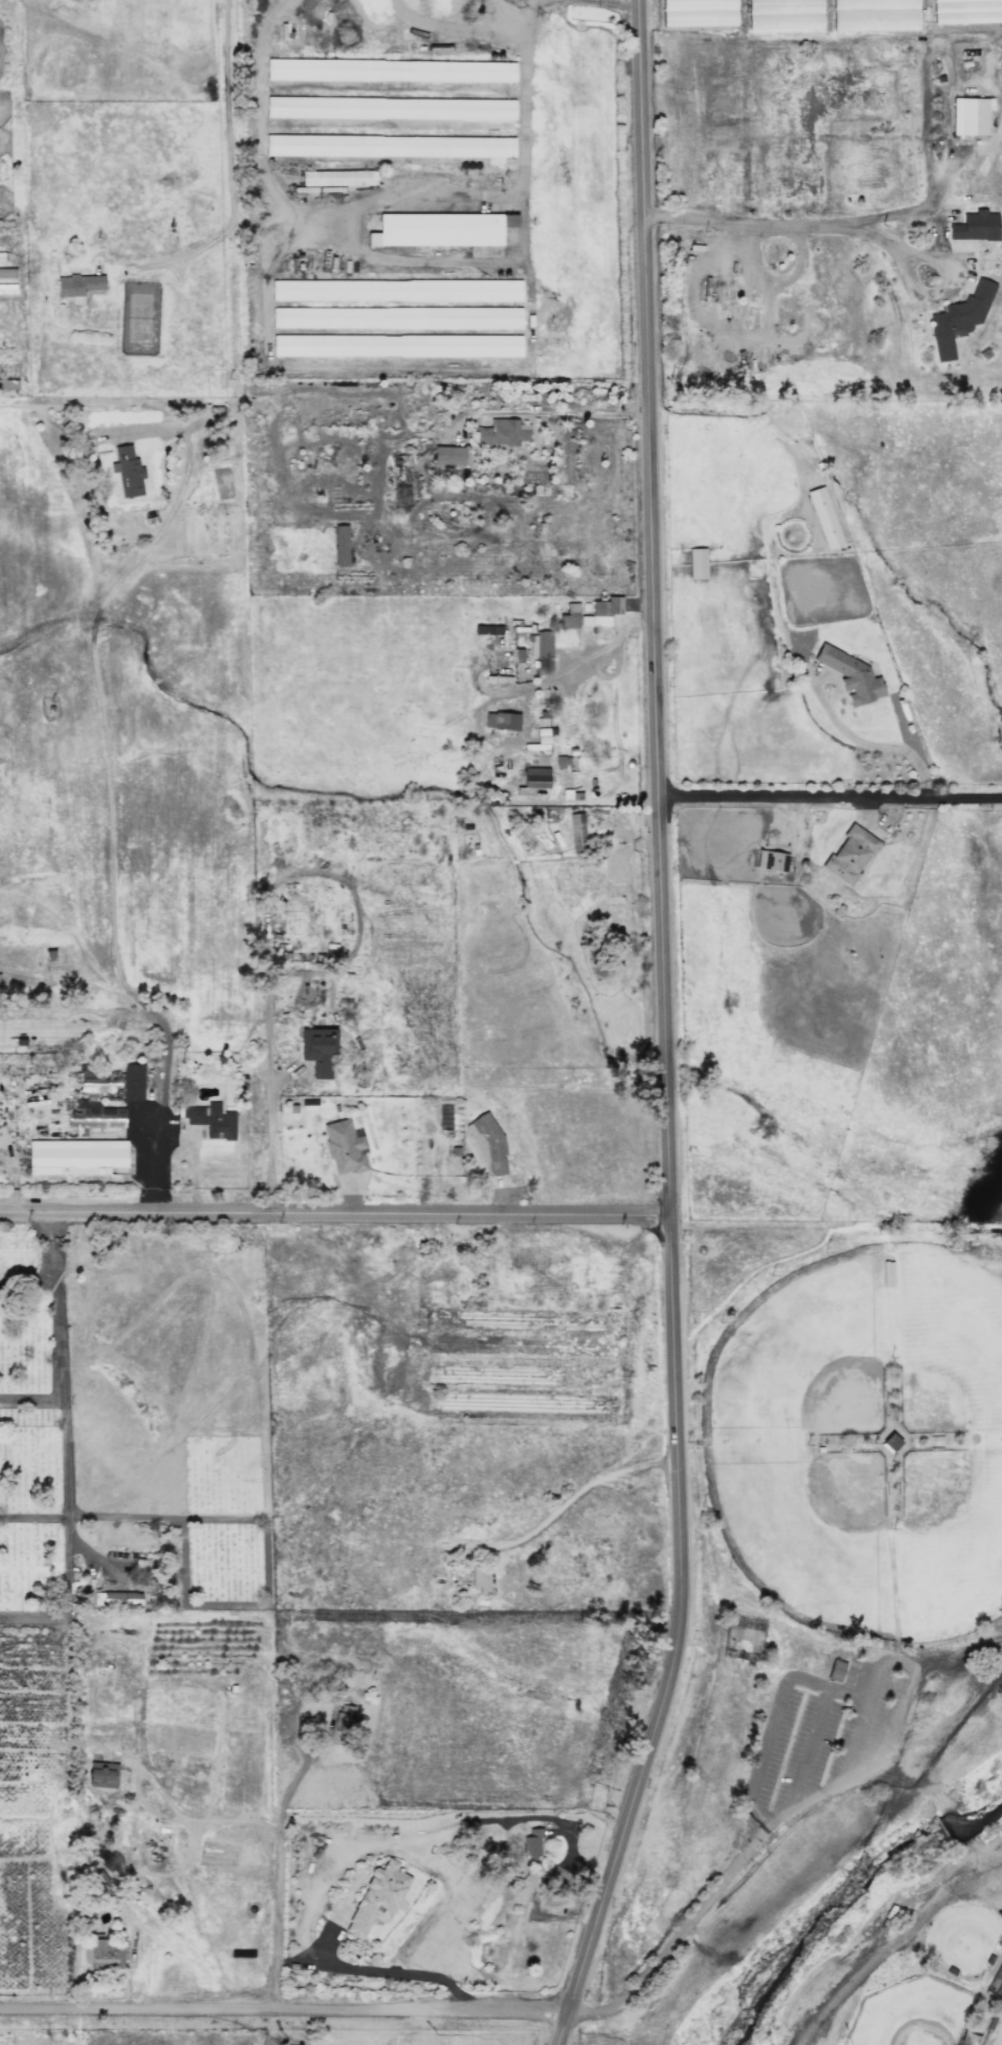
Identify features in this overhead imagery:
road: (615, 3)
road: (476, 31)
building: (391, 70)
building: (390, 108)
road: (225, 110)
building: (969, 116)
road: (995, 135)
building: (392, 146)
building: (338, 178)
road: (525, 189)
road: (844, 223)
building: (975, 226)
building: (440, 229)
building: (1, 256)
road: (170, 259)
building: (7, 273)
building: (78, 286)
building: (6, 288)
building: (396, 290)
building: (396, 318)
building: (959, 319)
building: (396, 346)
road: (587, 411)
building: (502, 432)
building: (448, 456)
building: (400, 468)
building: (127, 471)
building: (824, 517)
building: (341, 546)
building: (697, 563)
building: (602, 612)
building: (569, 617)
building: (487, 630)
building: (540, 645)
building: (518, 655)
road: (579, 658)
building: (850, 675)
building: (501, 721)
road: (880, 745)
building: (562, 761)
building: (533, 780)
building: (566, 794)
road: (831, 796)
road: (113, 813)
building: (577, 831)
building: (849, 855)
building: (771, 861)
road: (667, 1031)
building: (318, 1051)
building: (132, 1082)
building: (95, 1104)
building: (211, 1120)
building: (487, 1143)
road: (275, 1145)
building: (344, 1147)
building: (75, 1157)
road: (336, 1211)
building: (887, 1273)
road: (28, 1280)
park: (950, 1338)
park: (803, 1352)
road: (32, 1400)
park: (132, 1419)
building: (891, 1442)
road: (65, 1445)
road: (33, 1517)
park: (810, 1523)
park: (951, 1537)
building: (480, 1578)
park: (825, 1638)
building: (835, 1670)
building: (344, 1715)
road: (769, 1719)
parking lot: (826, 1738)
road: (800, 1750)
road: (215, 1759)
building: (102, 1775)
road: (294, 1784)
road: (810, 1801)
road: (277, 1835)
building: (532, 1842)
building: (377, 1898)
road: (886, 1939)
building: (102, 1953)
road: (382, 1970)
park: (908, 2008)
road: (285, 2013)
park: (993, 2030)

